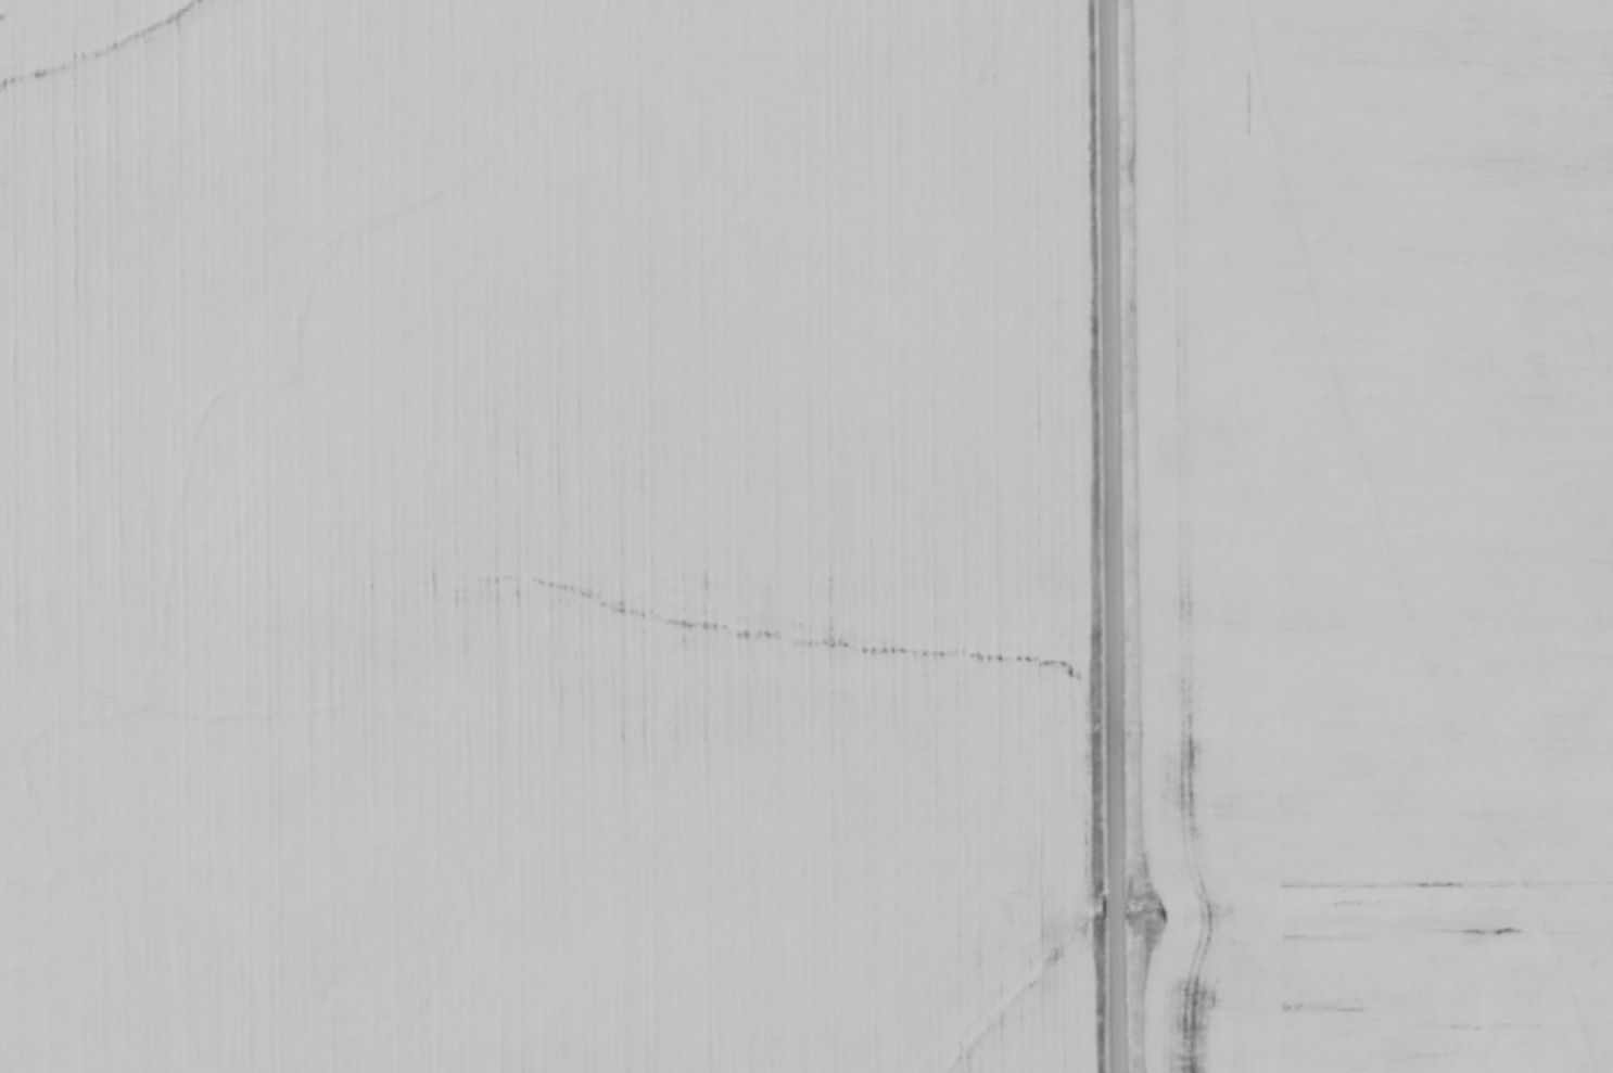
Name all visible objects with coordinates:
road: (1114, 536)

